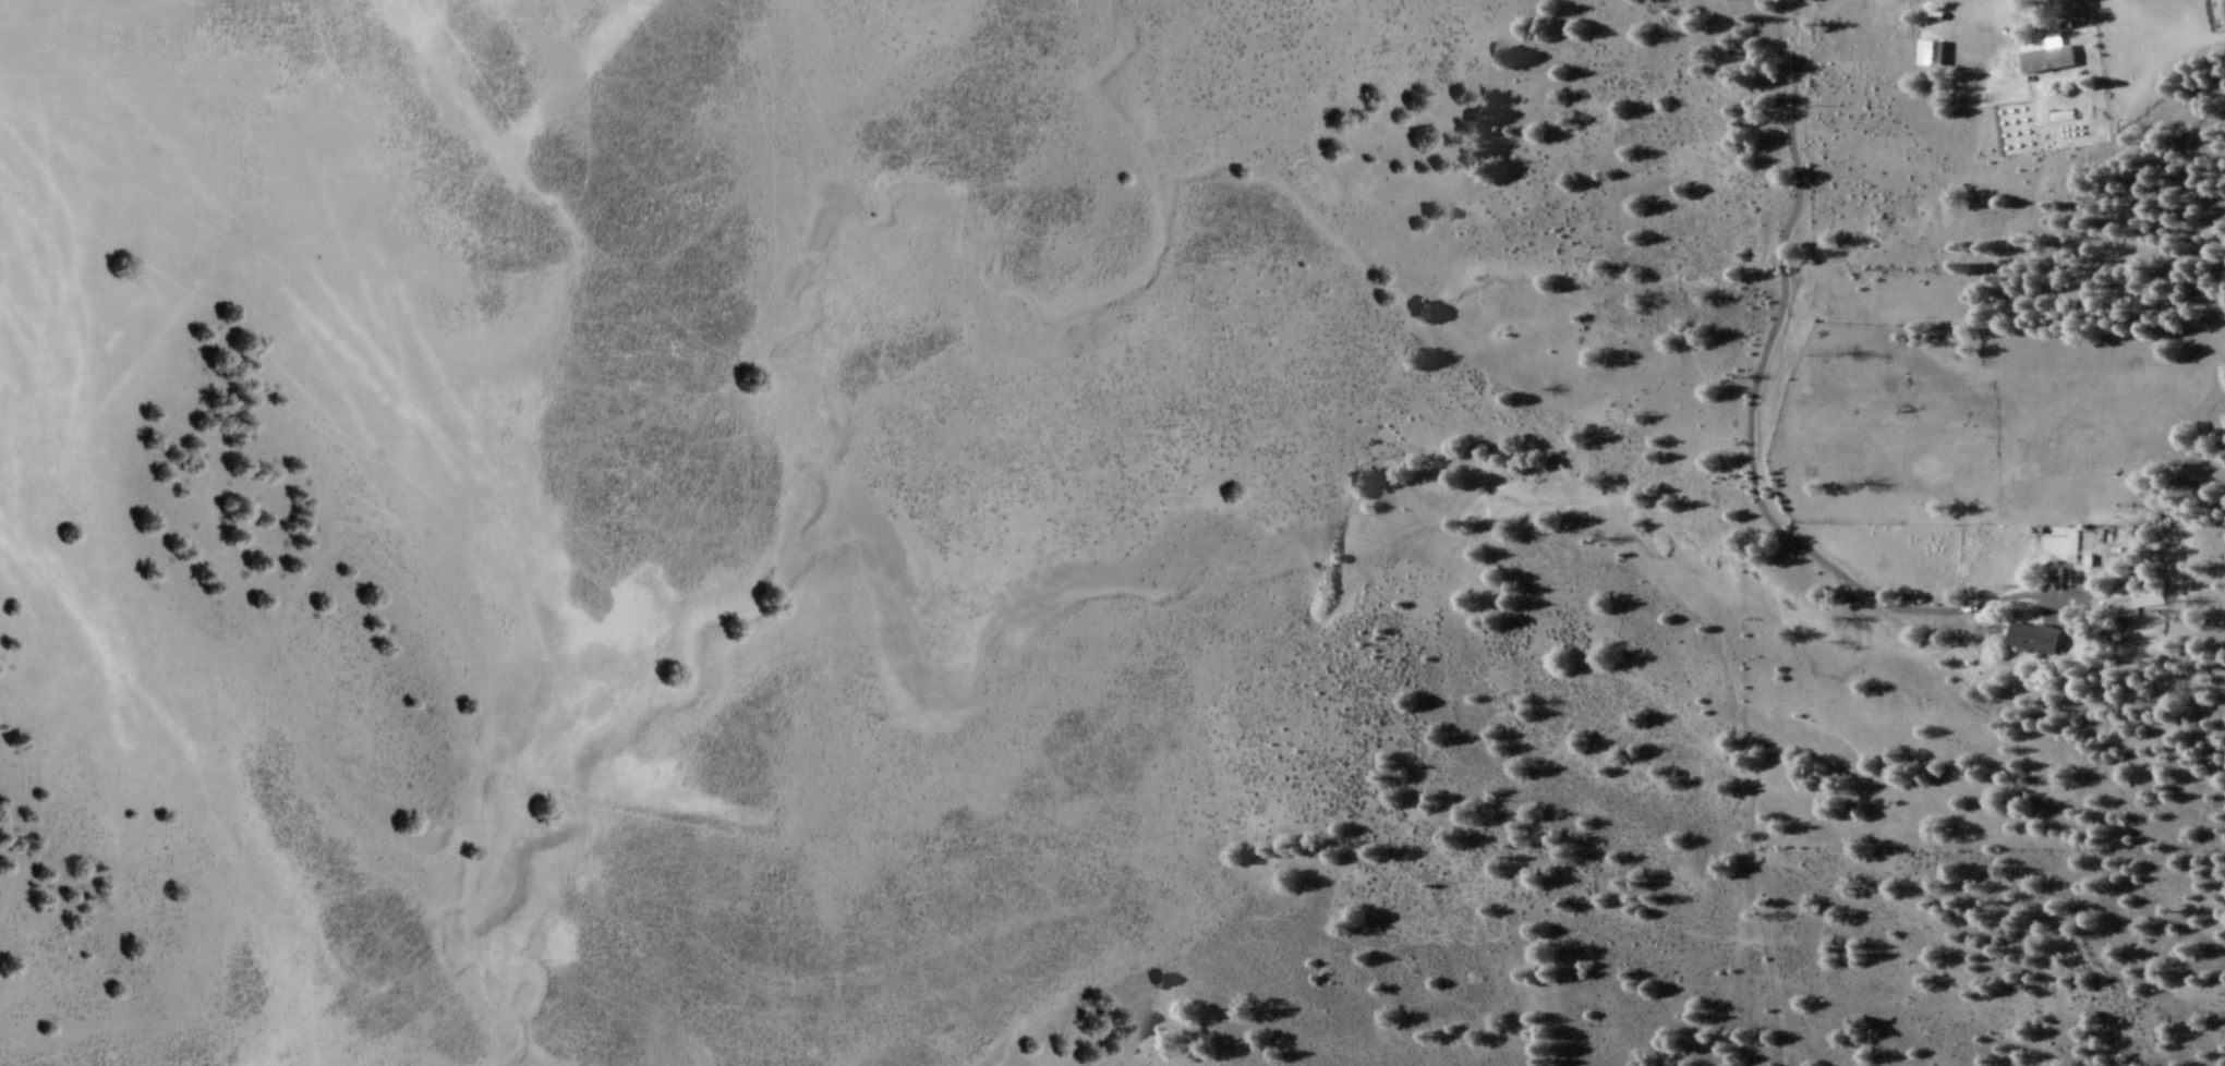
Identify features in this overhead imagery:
building: (1931, 53)
building: (2046, 57)
building: (2138, 598)
building: (2033, 639)

